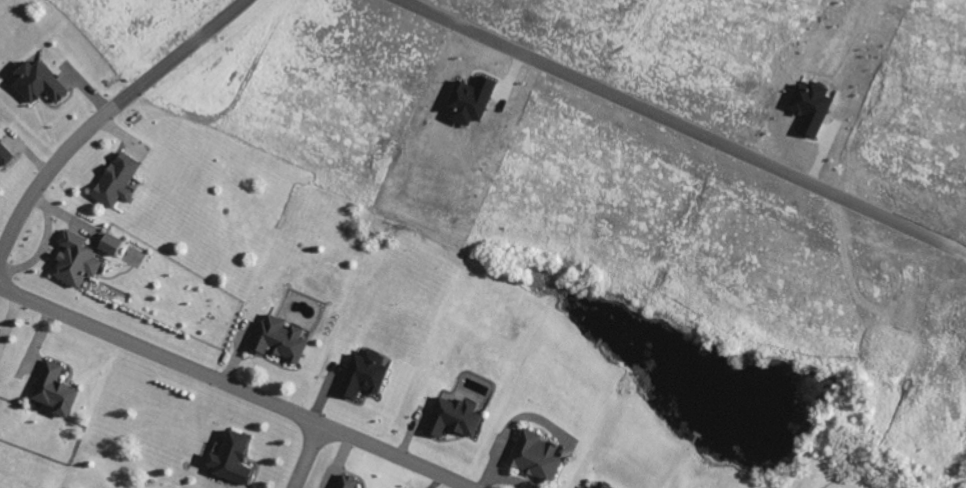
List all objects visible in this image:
road: (184, 50)
building: (36, 84)
building: (468, 102)
building: (809, 108)
road: (680, 128)
building: (4, 158)
road: (51, 167)
building: (115, 182)
building: (109, 246)
building: (73, 261)
building: (278, 340)
building: (363, 376)
road: (233, 388)
building: (52, 392)
building: (453, 419)
road: (305, 456)
building: (534, 458)
building: (230, 460)
building: (345, 483)
building: (586, 487)
building: (604, 487)

